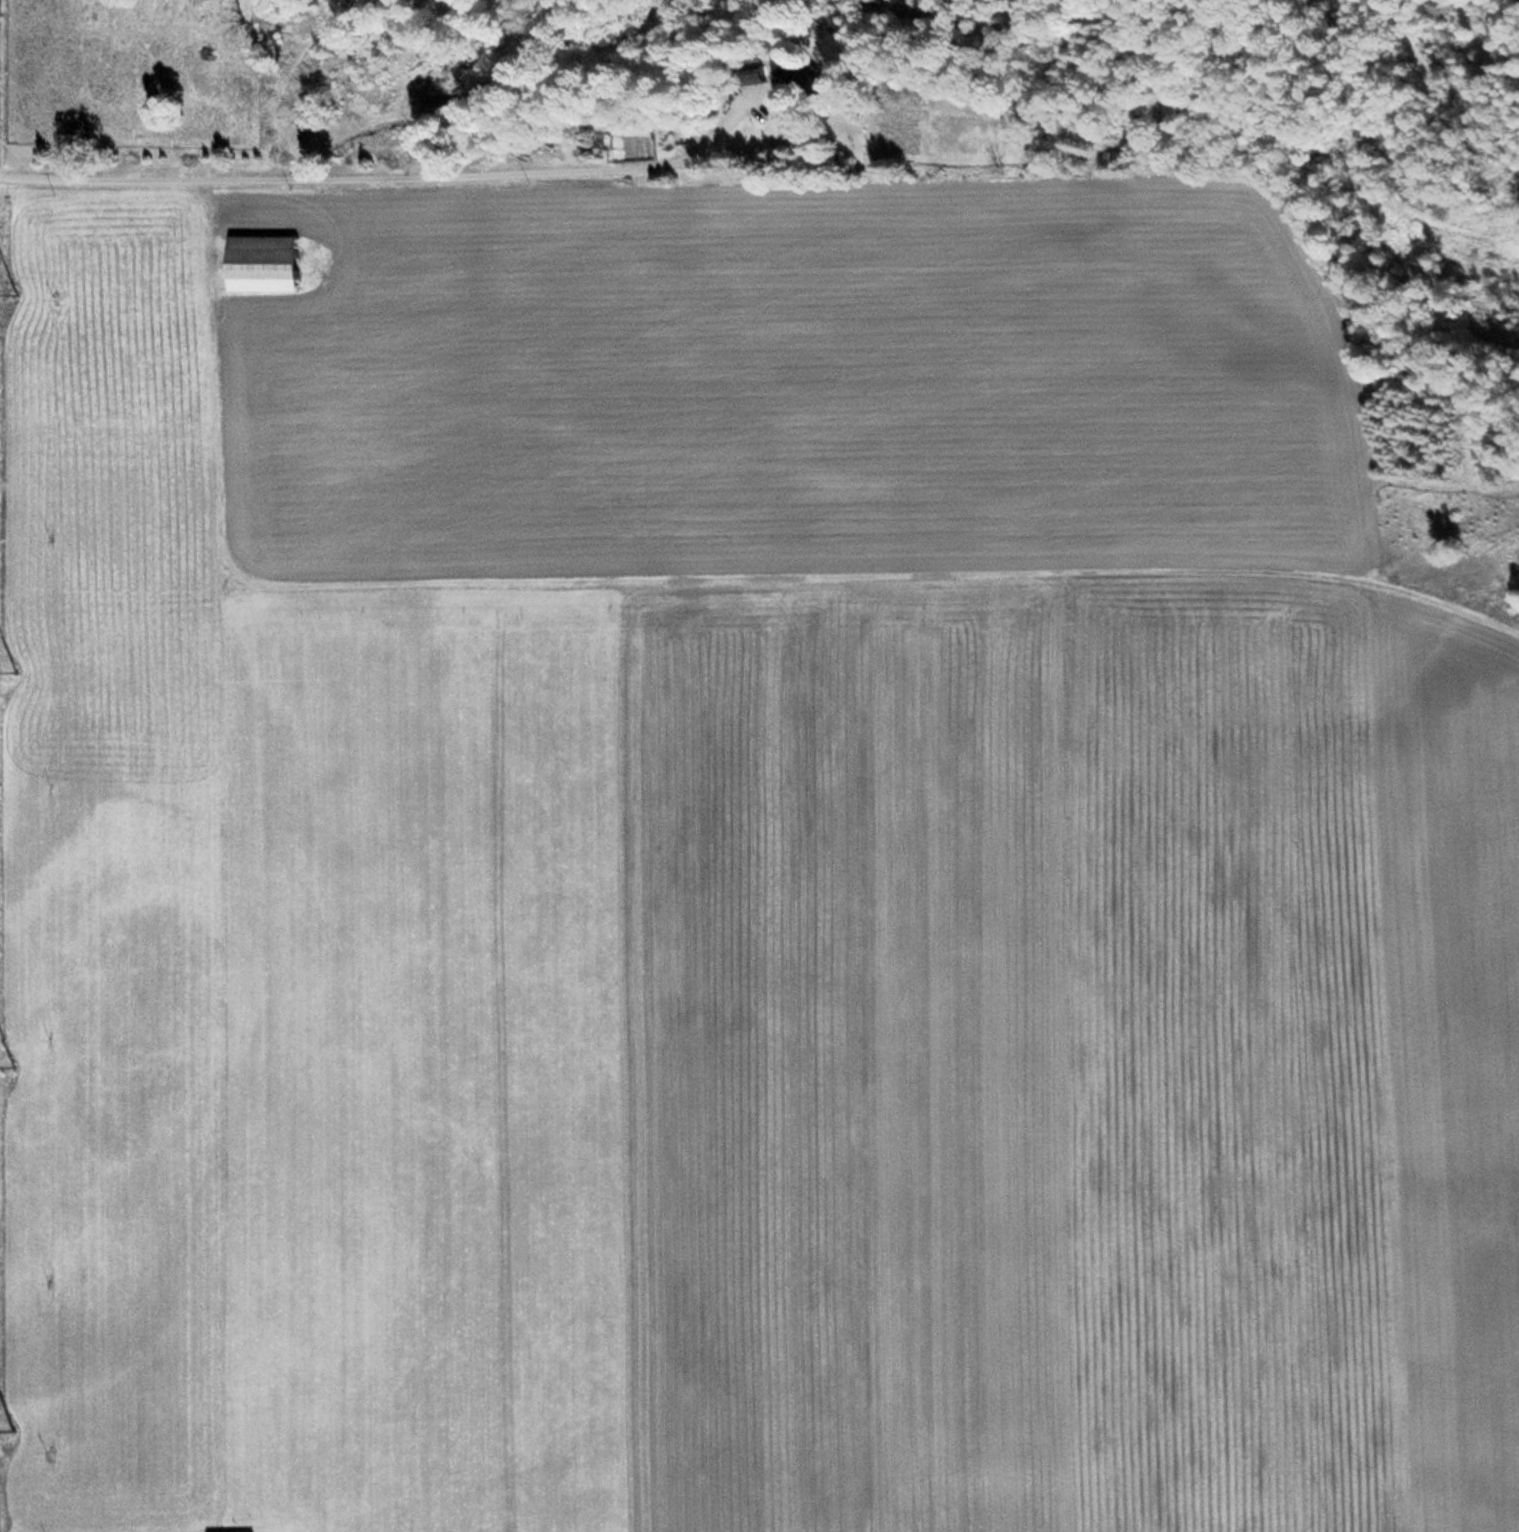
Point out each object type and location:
building: (794, 76)
building: (257, 264)
building: (161, 316)
building: (88, 364)

